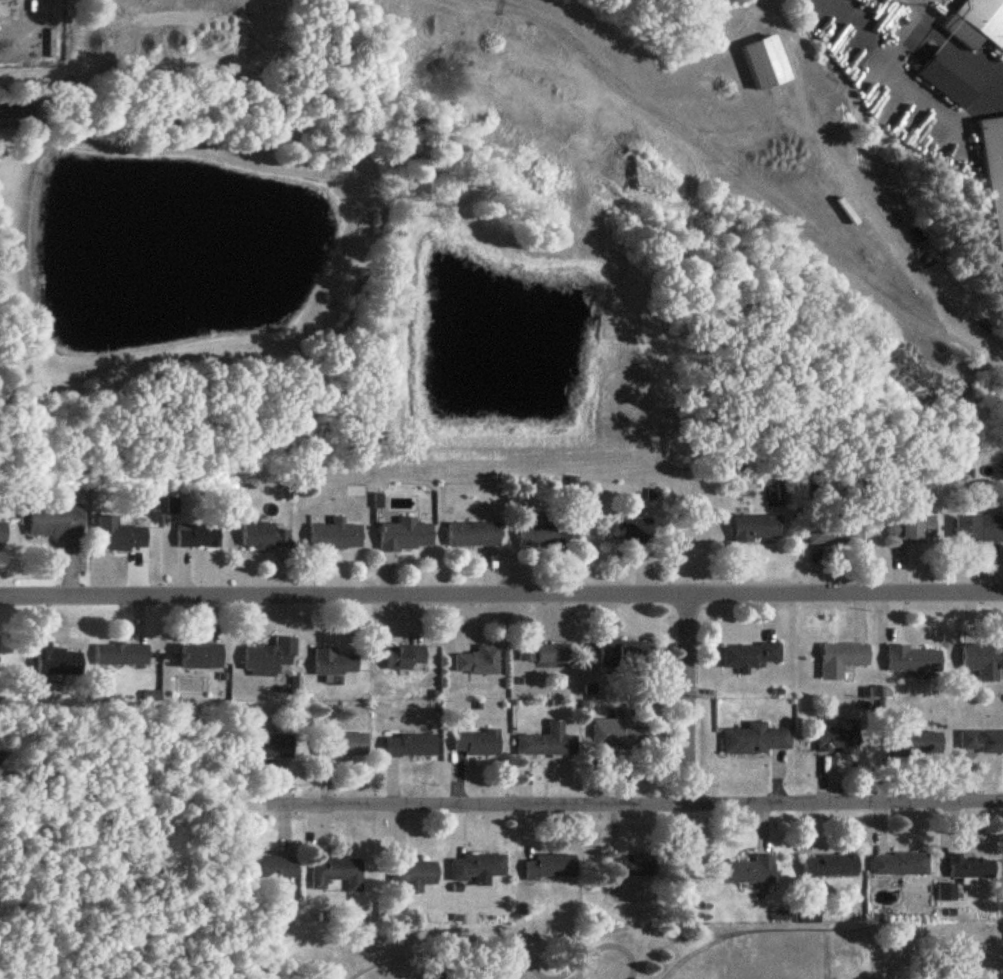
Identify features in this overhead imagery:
building: (978, 23)
building: (767, 63)
building: (953, 78)
road: (734, 165)
building: (995, 172)
road: (24, 337)
building: (58, 523)
building: (757, 529)
building: (631, 530)
building: (915, 530)
building: (979, 530)
building: (539, 534)
building: (474, 535)
building: (836, 535)
building: (198, 536)
building: (407, 536)
building: (2, 537)
building: (336, 537)
building: (122, 538)
building: (267, 539)
road: (501, 593)
building: (545, 654)
building: (122, 656)
building: (752, 656)
building: (202, 657)
building: (405, 657)
building: (627, 657)
building: (843, 660)
building: (55, 661)
building: (266, 661)
building: (478, 661)
building: (914, 661)
building: (984, 662)
building: (334, 663)
road: (688, 698)
building: (621, 733)
building: (757, 740)
building: (838, 741)
building: (982, 741)
building: (477, 743)
building: (548, 743)
building: (918, 743)
building: (343, 745)
building: (270, 746)
building: (410, 746)
road: (624, 803)
building: (631, 865)
building: (900, 865)
building: (552, 867)
building: (830, 867)
building: (269, 868)
building: (972, 868)
building: (477, 869)
building: (750, 871)
building: (335, 872)
building: (414, 874)
park: (634, 954)
park: (759, 958)
park: (411, 970)

